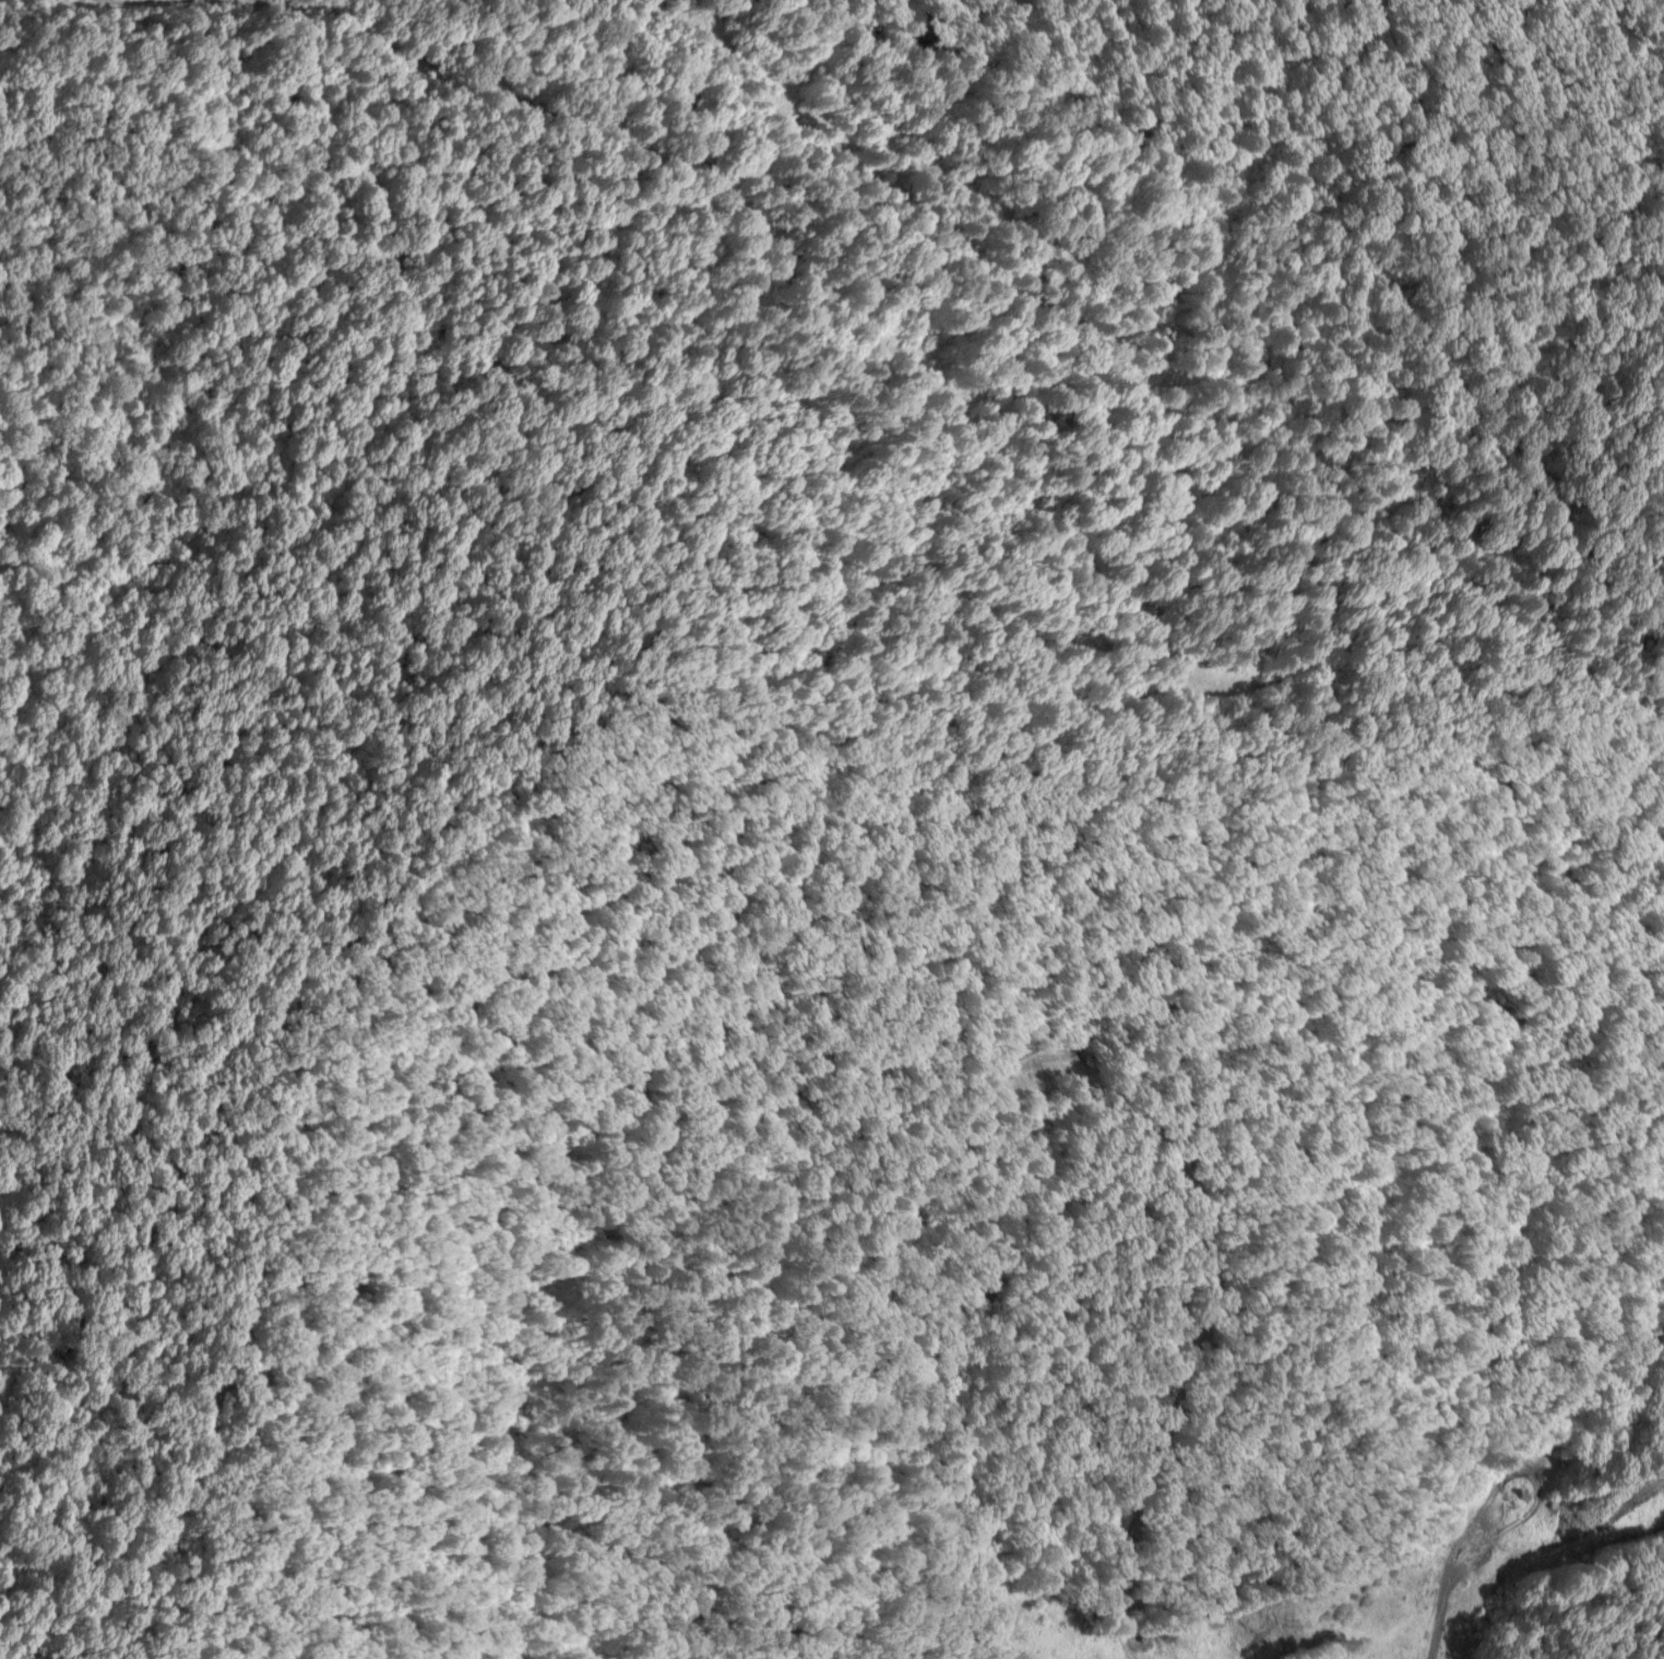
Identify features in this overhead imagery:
road: (230, 46)

